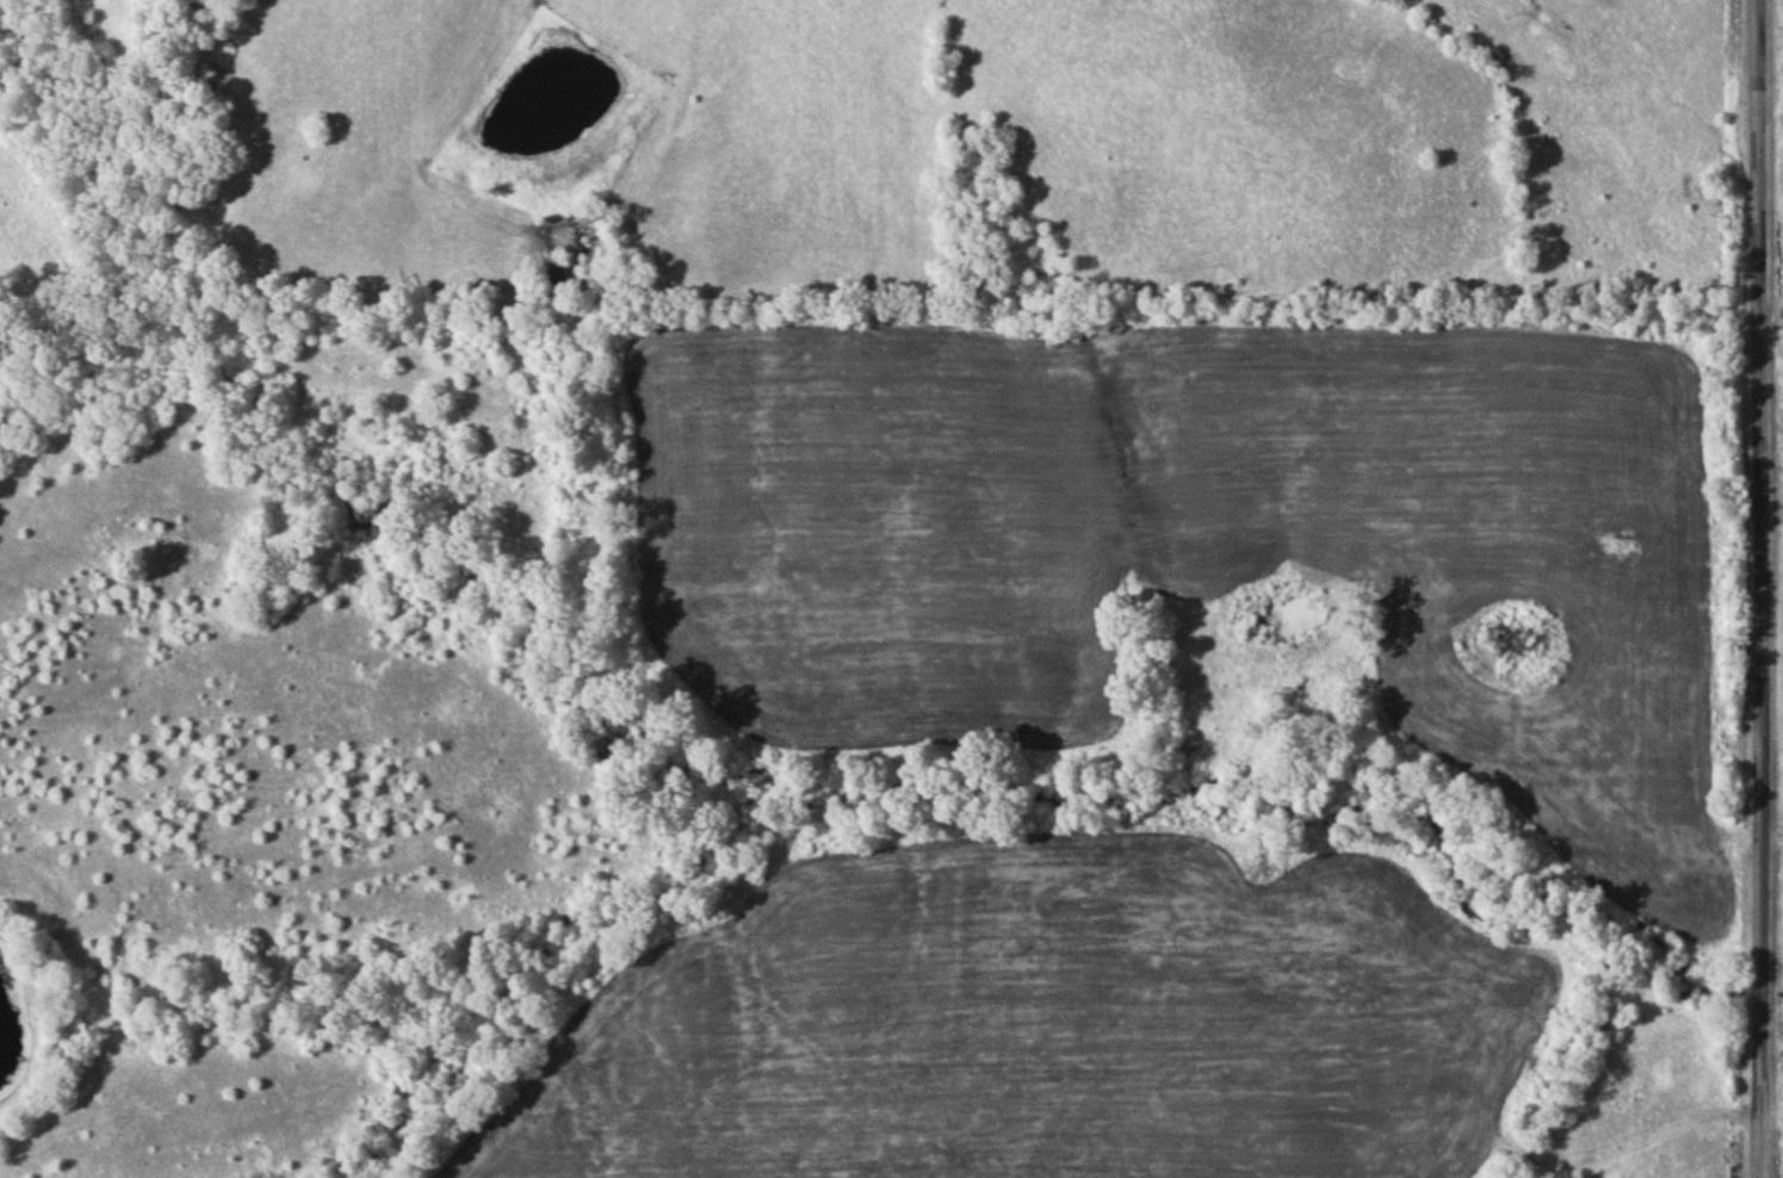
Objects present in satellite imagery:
road: (1763, 589)

